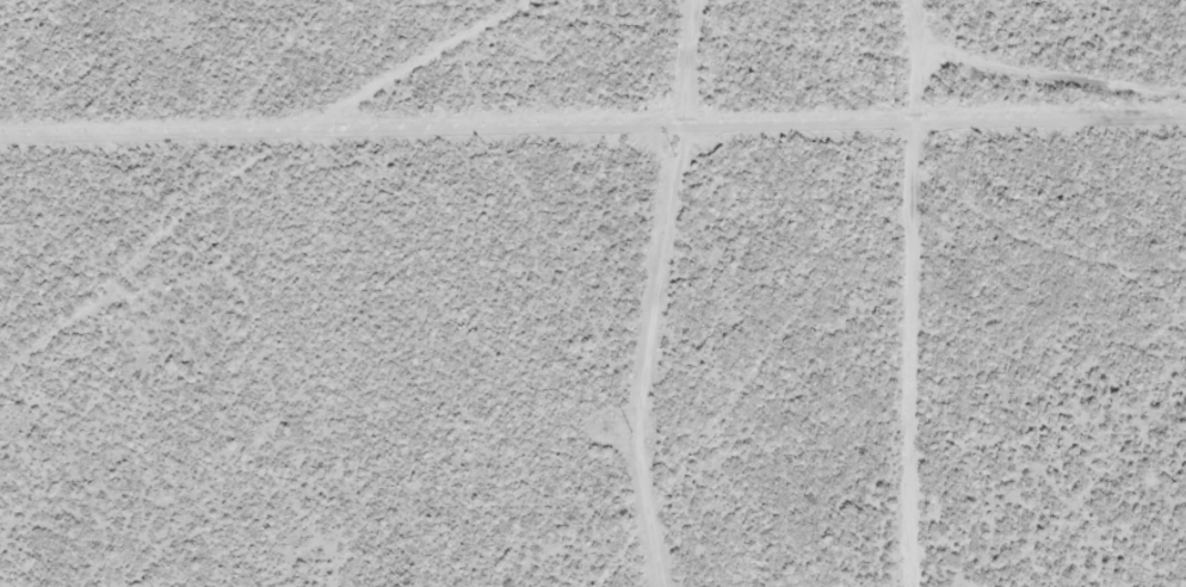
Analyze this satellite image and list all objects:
power tower: (675, 154)
road: (1077, 273)
road: (970, 292)
power tower: (632, 433)

